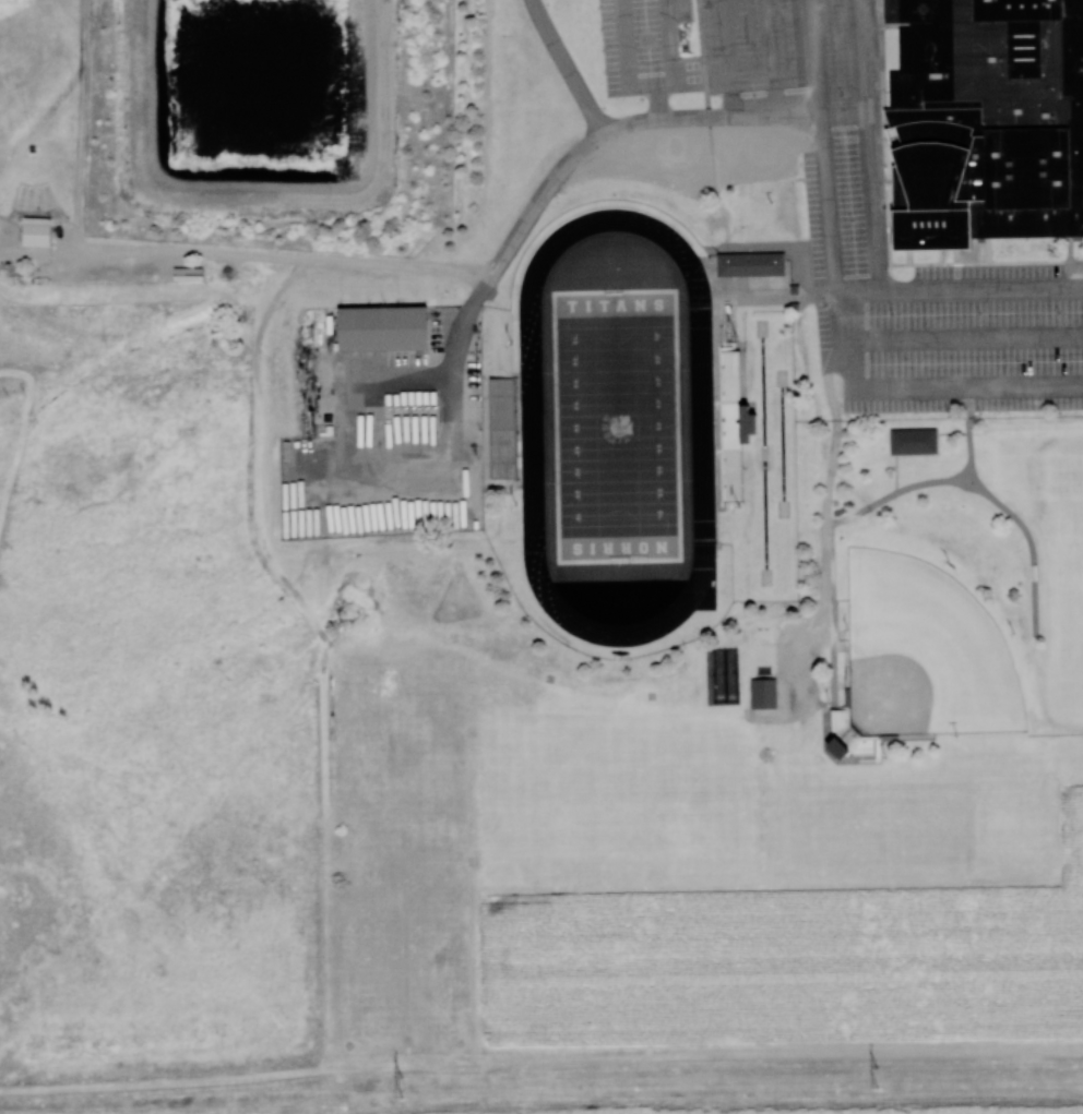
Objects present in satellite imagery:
road: (888, 26)
road: (724, 41)
road: (670, 50)
road: (627, 55)
road: (774, 62)
road: (567, 68)
road: (730, 100)
road: (656, 101)
building: (988, 121)
road: (710, 137)
road: (869, 144)
road: (886, 161)
road: (642, 208)
building: (34, 230)
road: (1071, 250)
road: (275, 256)
road: (961, 260)
road: (979, 263)
building: (749, 264)
road: (488, 280)
road: (961, 287)
road: (769, 297)
road: (498, 298)
road: (842, 308)
building: (379, 326)
road: (965, 333)
building: (743, 421)
park: (615, 423)
track: (616, 427)
road: (952, 433)
road: (969, 435)
building: (912, 440)
track: (783, 443)
track: (764, 454)
road: (894, 474)
road: (975, 489)
road: (825, 565)
park: (1062, 582)
track: (703, 584)
park: (923, 650)
building: (762, 693)
power tower: (877, 1074)
power tower: (401, 1085)

